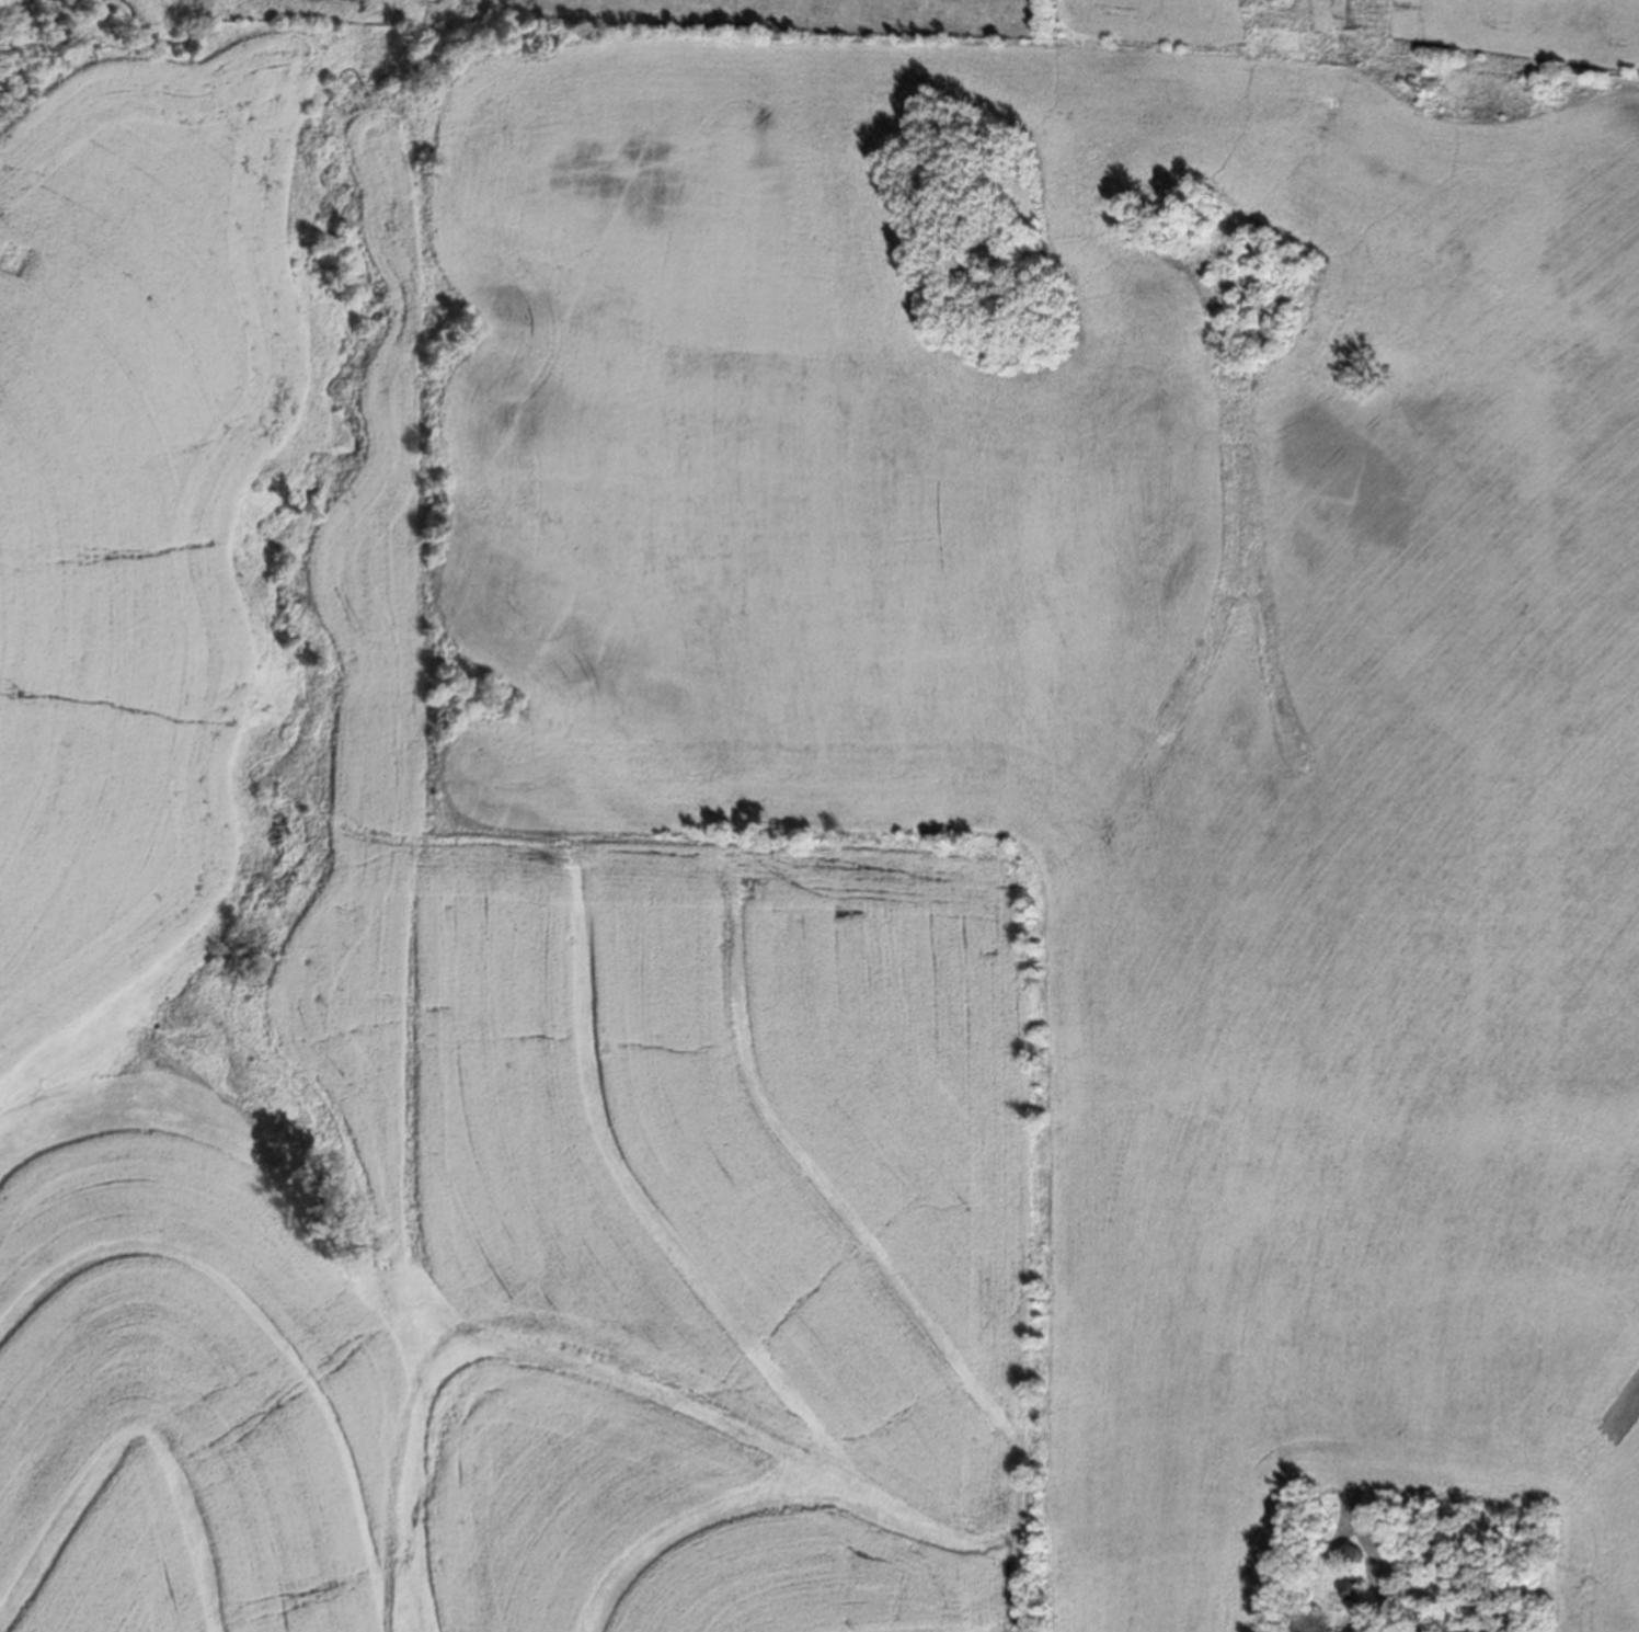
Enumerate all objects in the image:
building: (1357, 1553)
building: (1357, 1590)
road: (1429, 1616)

